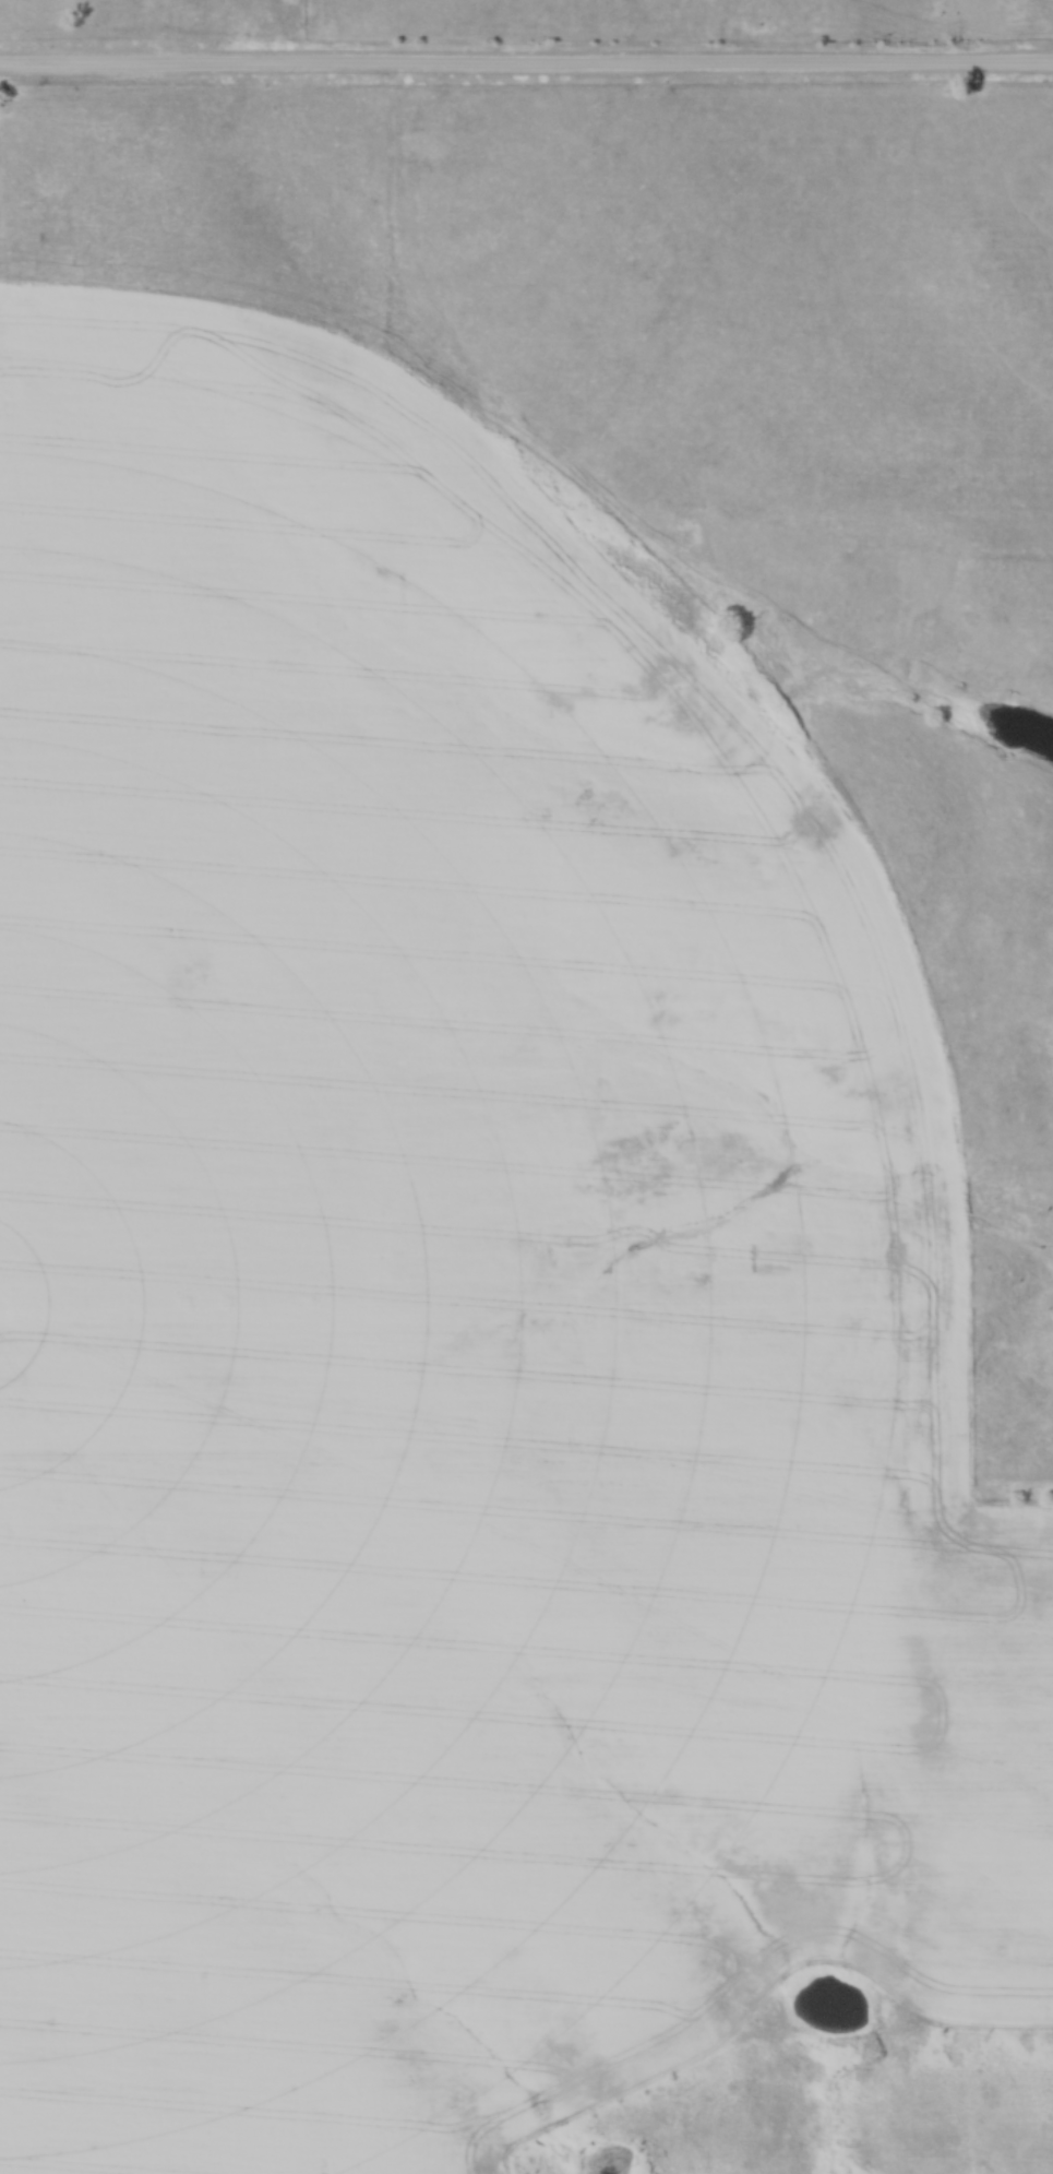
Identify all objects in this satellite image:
road: (526, 66)

